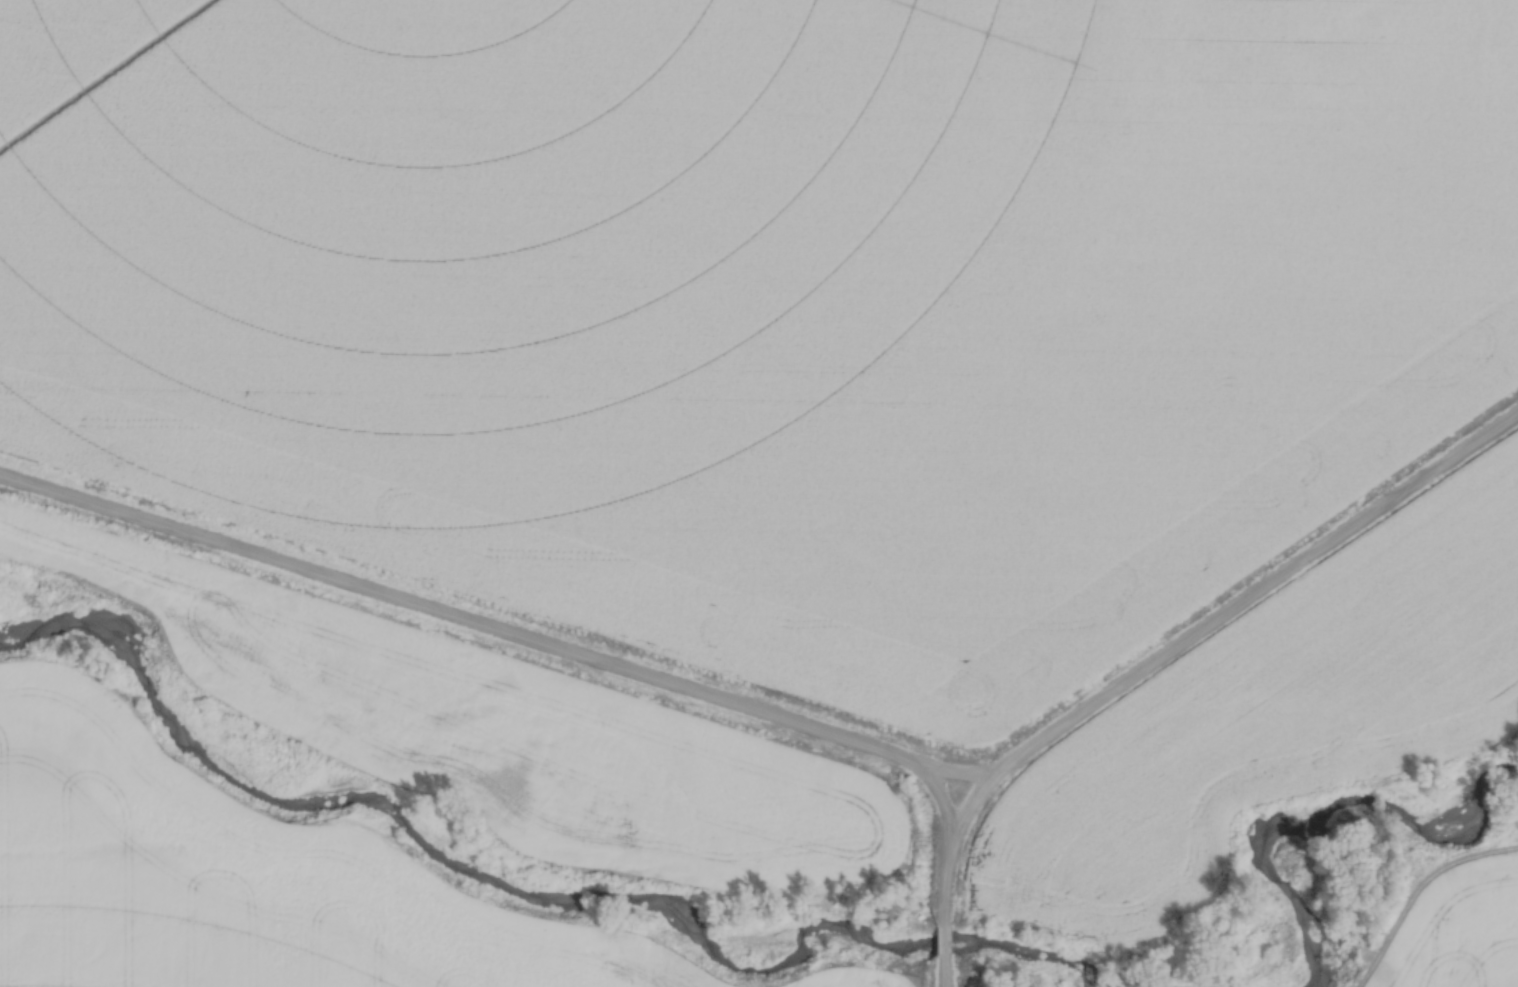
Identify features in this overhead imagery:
road: (498, 630)
road: (1185, 639)
road: (960, 774)
road: (956, 943)
road: (957, 972)

